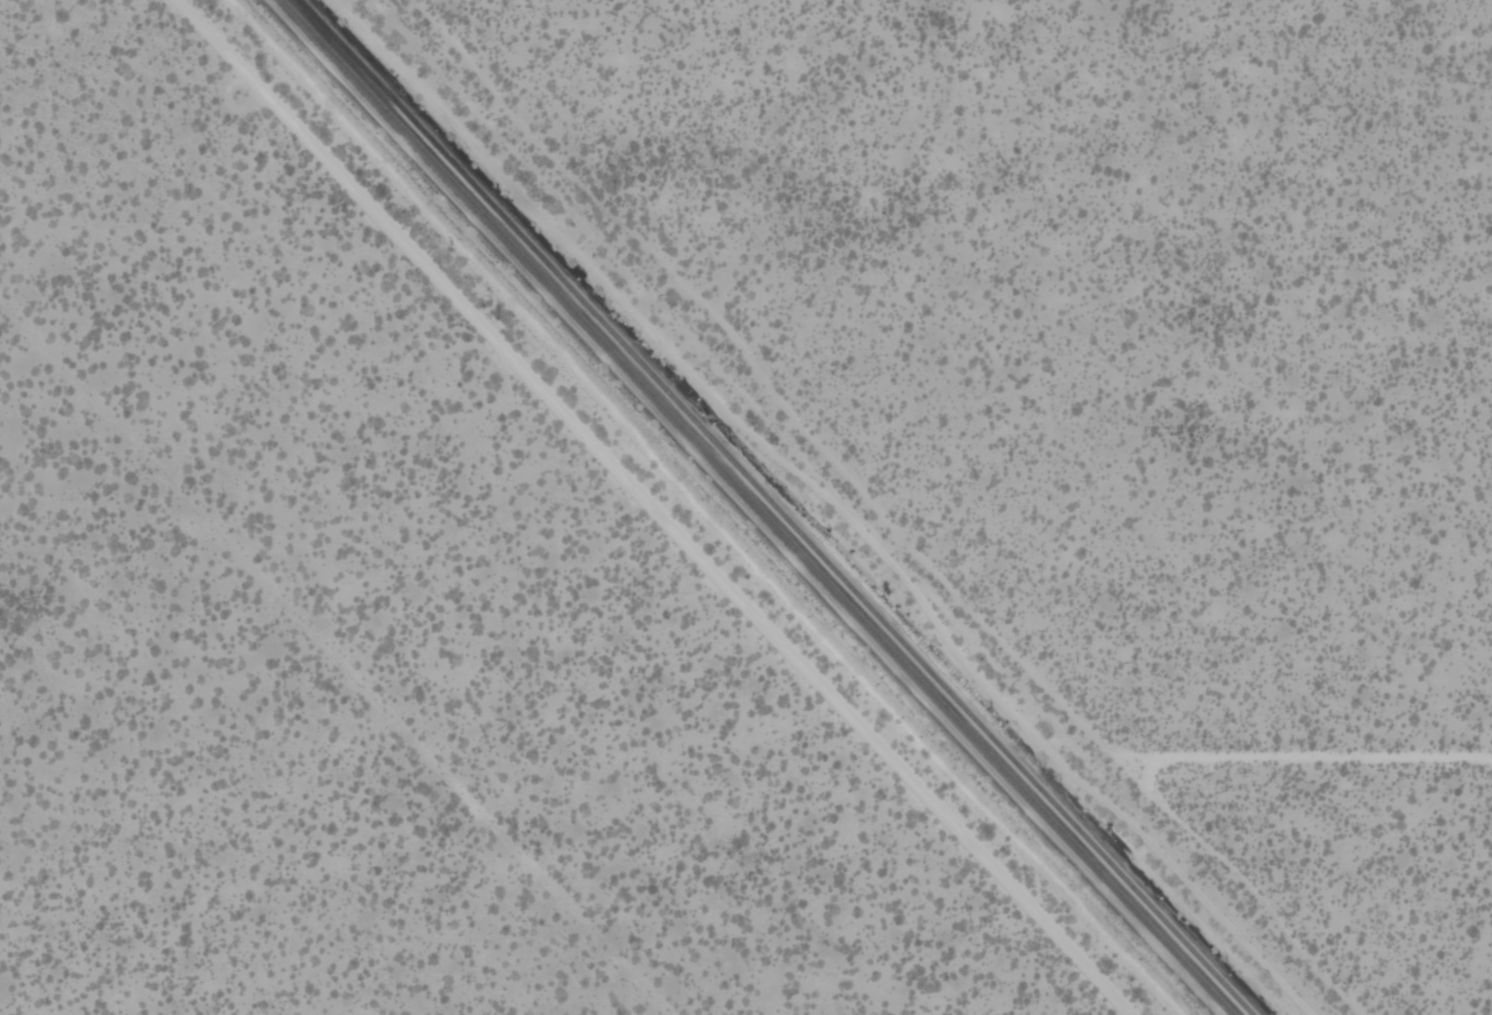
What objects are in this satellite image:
road: (824, 501)
road: (641, 507)
railway: (757, 507)
railway: (773, 507)
road: (877, 510)
road: (337, 655)
road: (1296, 757)

